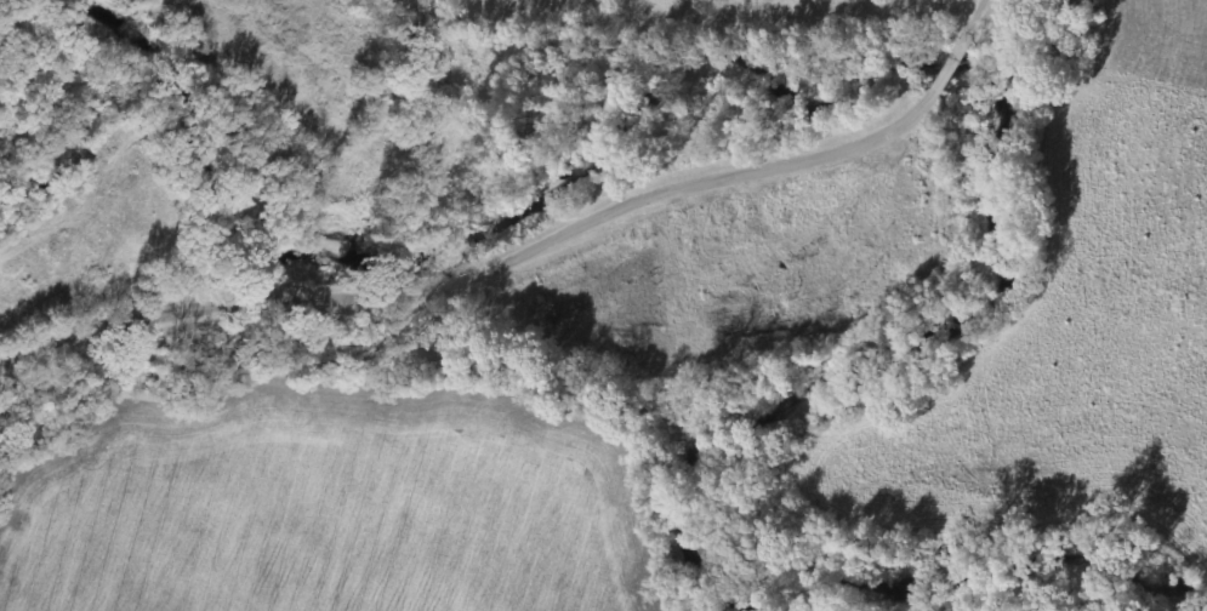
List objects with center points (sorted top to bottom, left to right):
road: (974, 18)
river: (945, 64)
road: (947, 65)
road: (474, 264)

